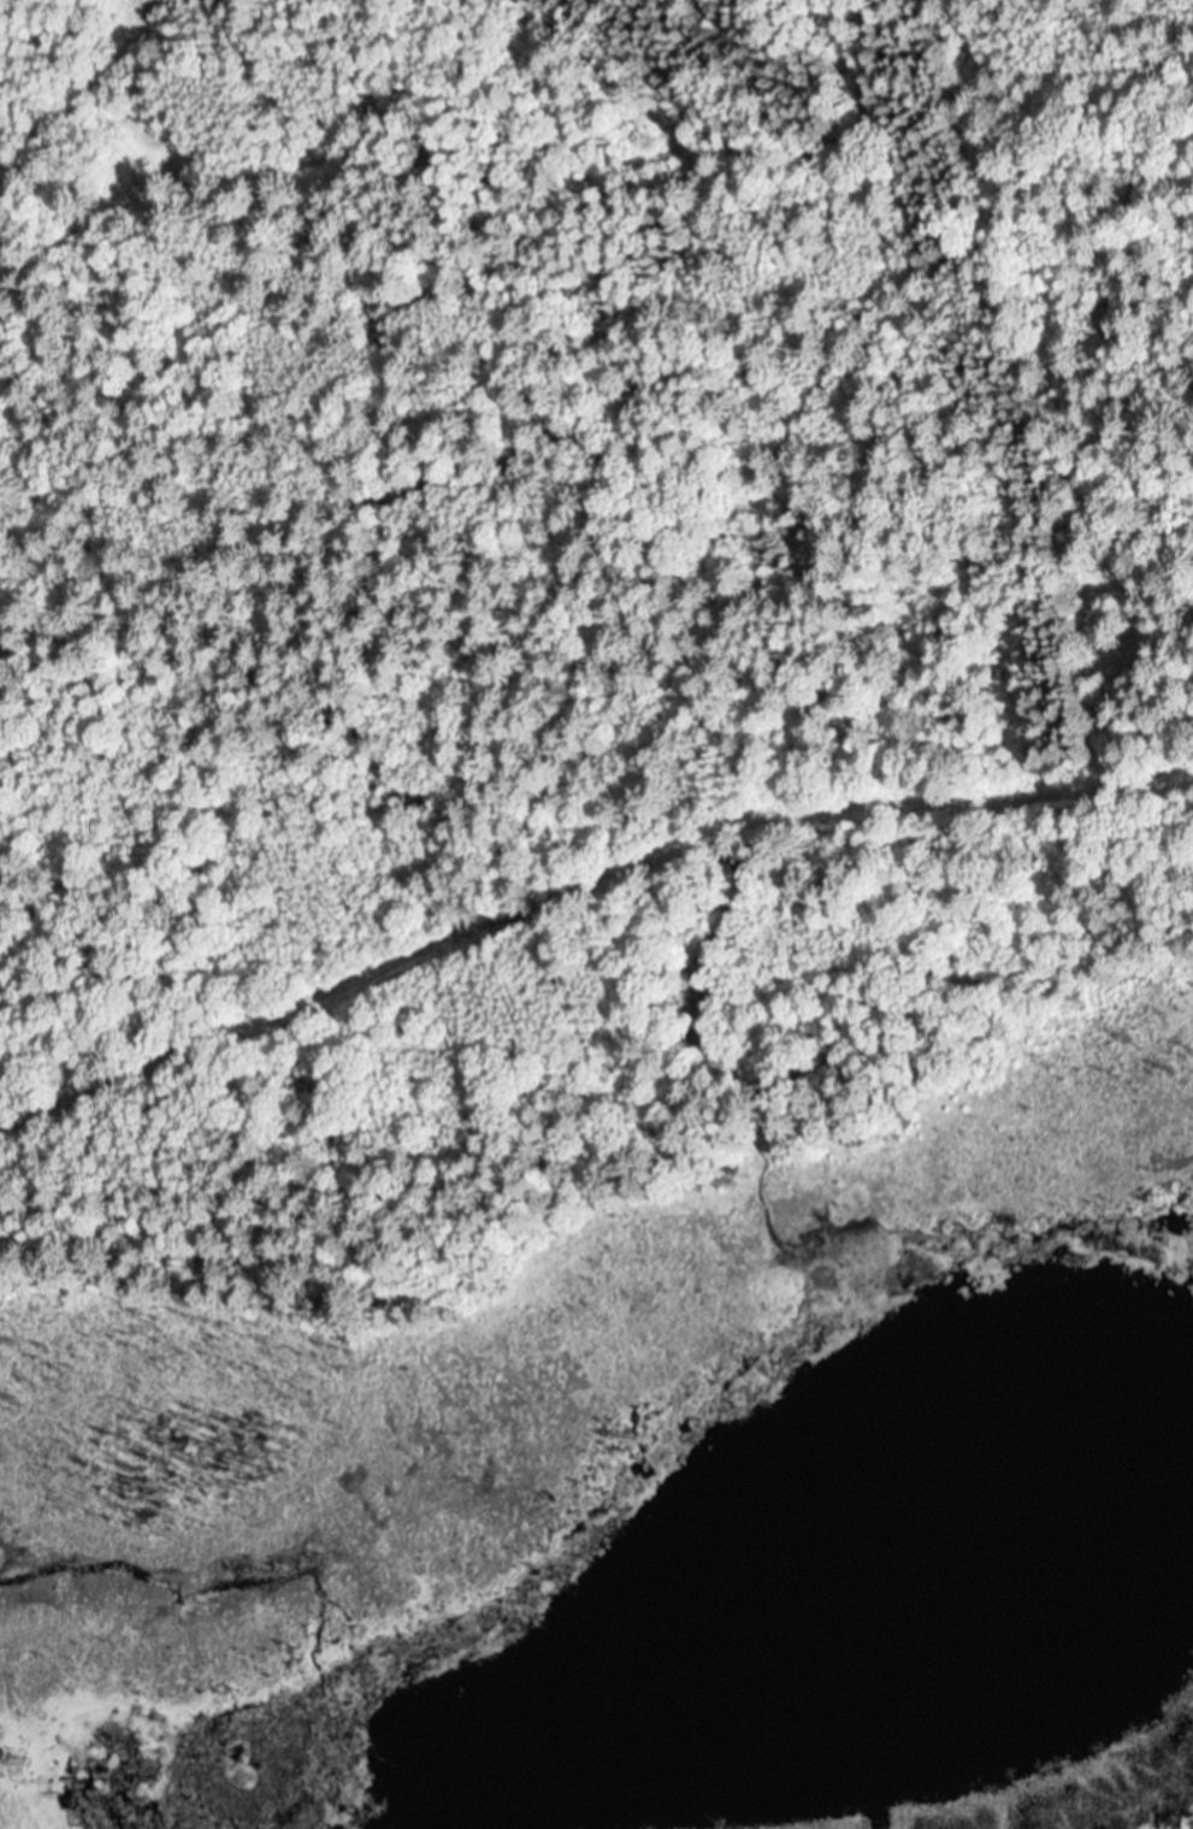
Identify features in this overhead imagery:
road: (581, 891)

